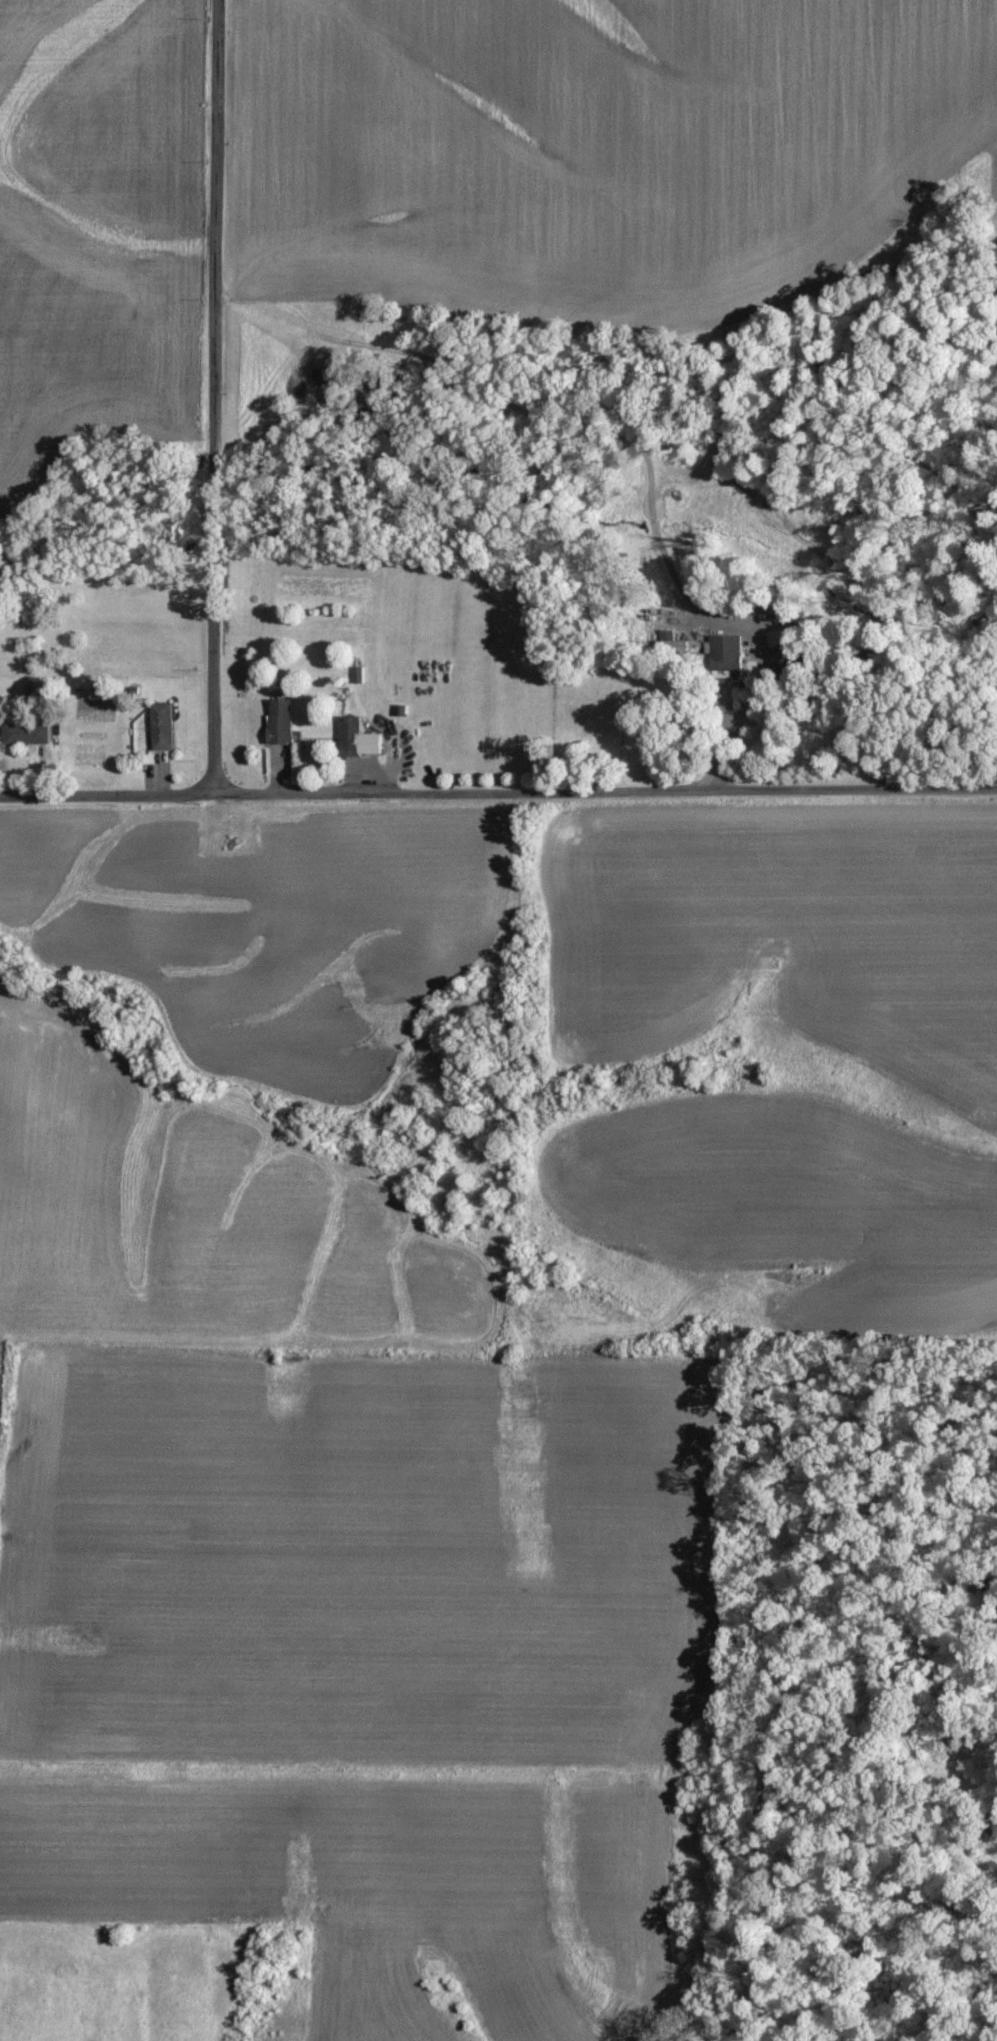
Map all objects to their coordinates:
road: (214, 394)
building: (784, 652)
building: (726, 653)
building: (282, 722)
building: (164, 727)
building: (27, 734)
building: (359, 737)
road: (498, 786)

